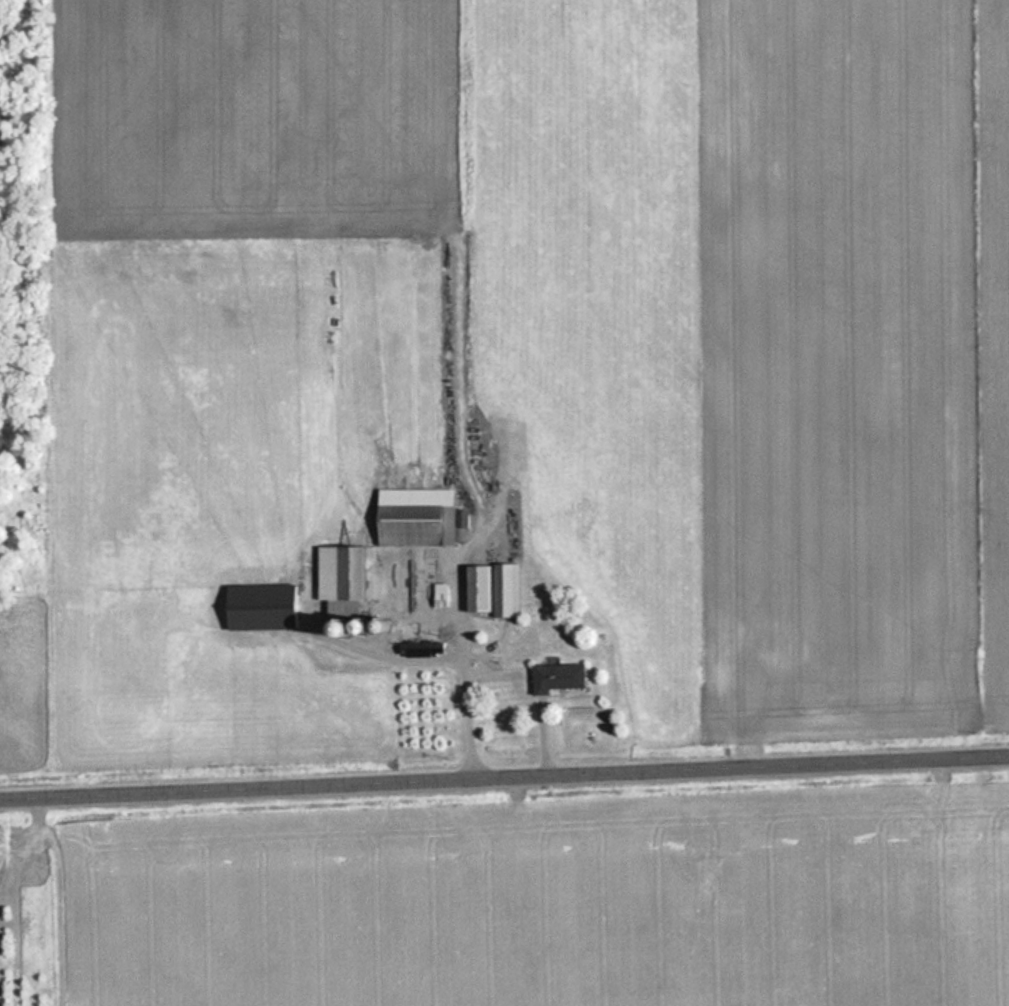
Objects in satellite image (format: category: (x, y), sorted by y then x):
building: (414, 518)
building: (336, 574)
building: (491, 589)
building: (256, 607)
building: (342, 613)
building: (554, 677)
road: (504, 778)

